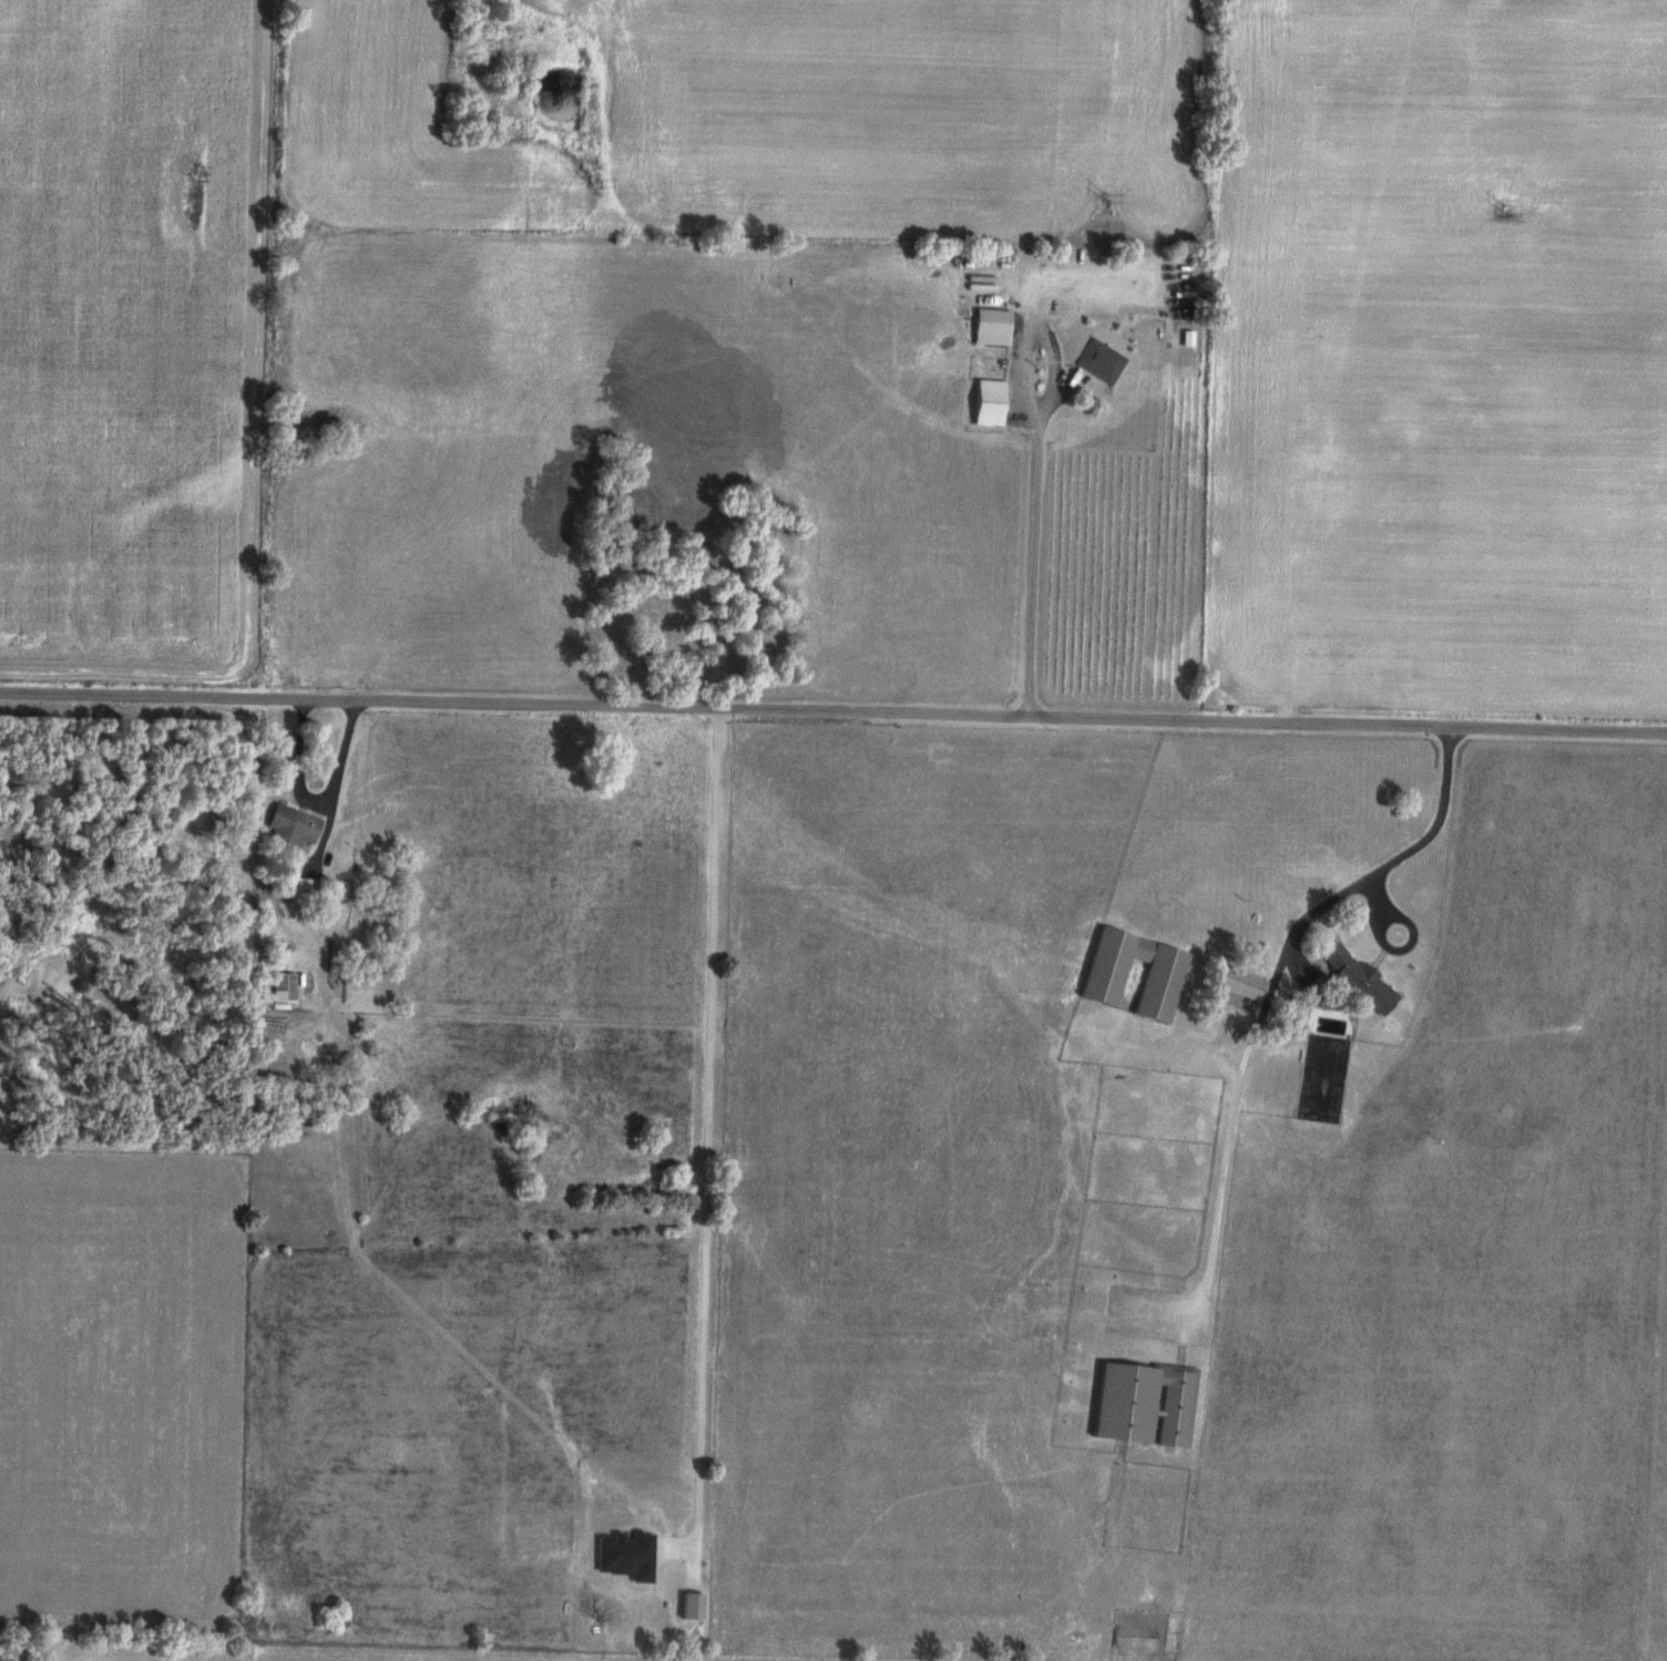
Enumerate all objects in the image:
power tower: (192, 173)
power tower: (594, 182)
power tower: (1104, 197)
power tower: (1507, 212)
building: (989, 327)
building: (1098, 360)
building: (986, 402)
road: (1033, 514)
road: (833, 711)
road: (303, 765)
building: (288, 829)
road: (1387, 868)
building: (298, 888)
road: (321, 968)
building: (1353, 978)
building: (1159, 980)
building: (1238, 983)
building: (280, 988)
building: (1125, 988)
building: (1142, 1404)

